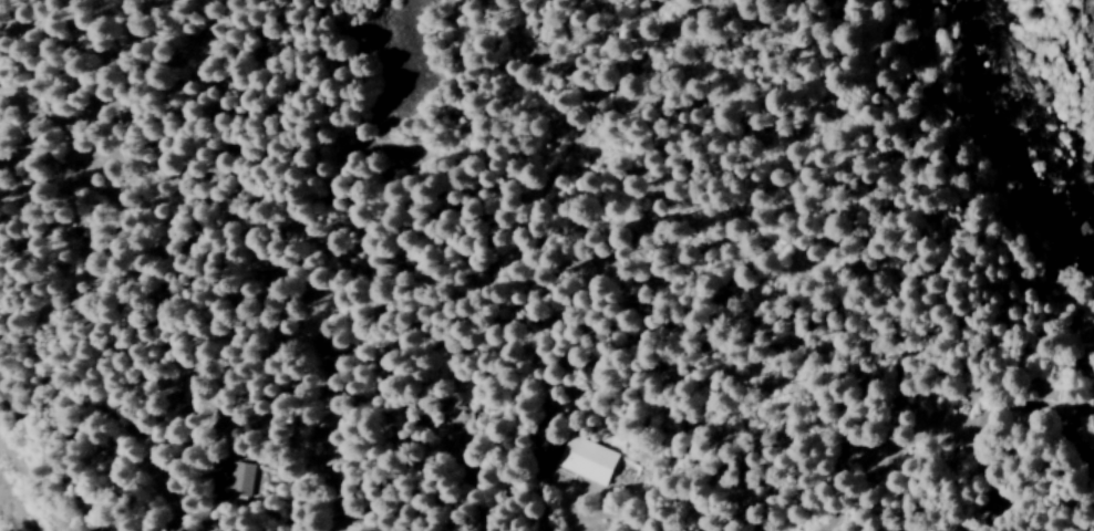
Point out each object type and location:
river: (1011, 126)
road: (239, 256)
road: (860, 304)
building: (1084, 430)
road: (40, 448)
building: (584, 460)
building: (237, 483)

